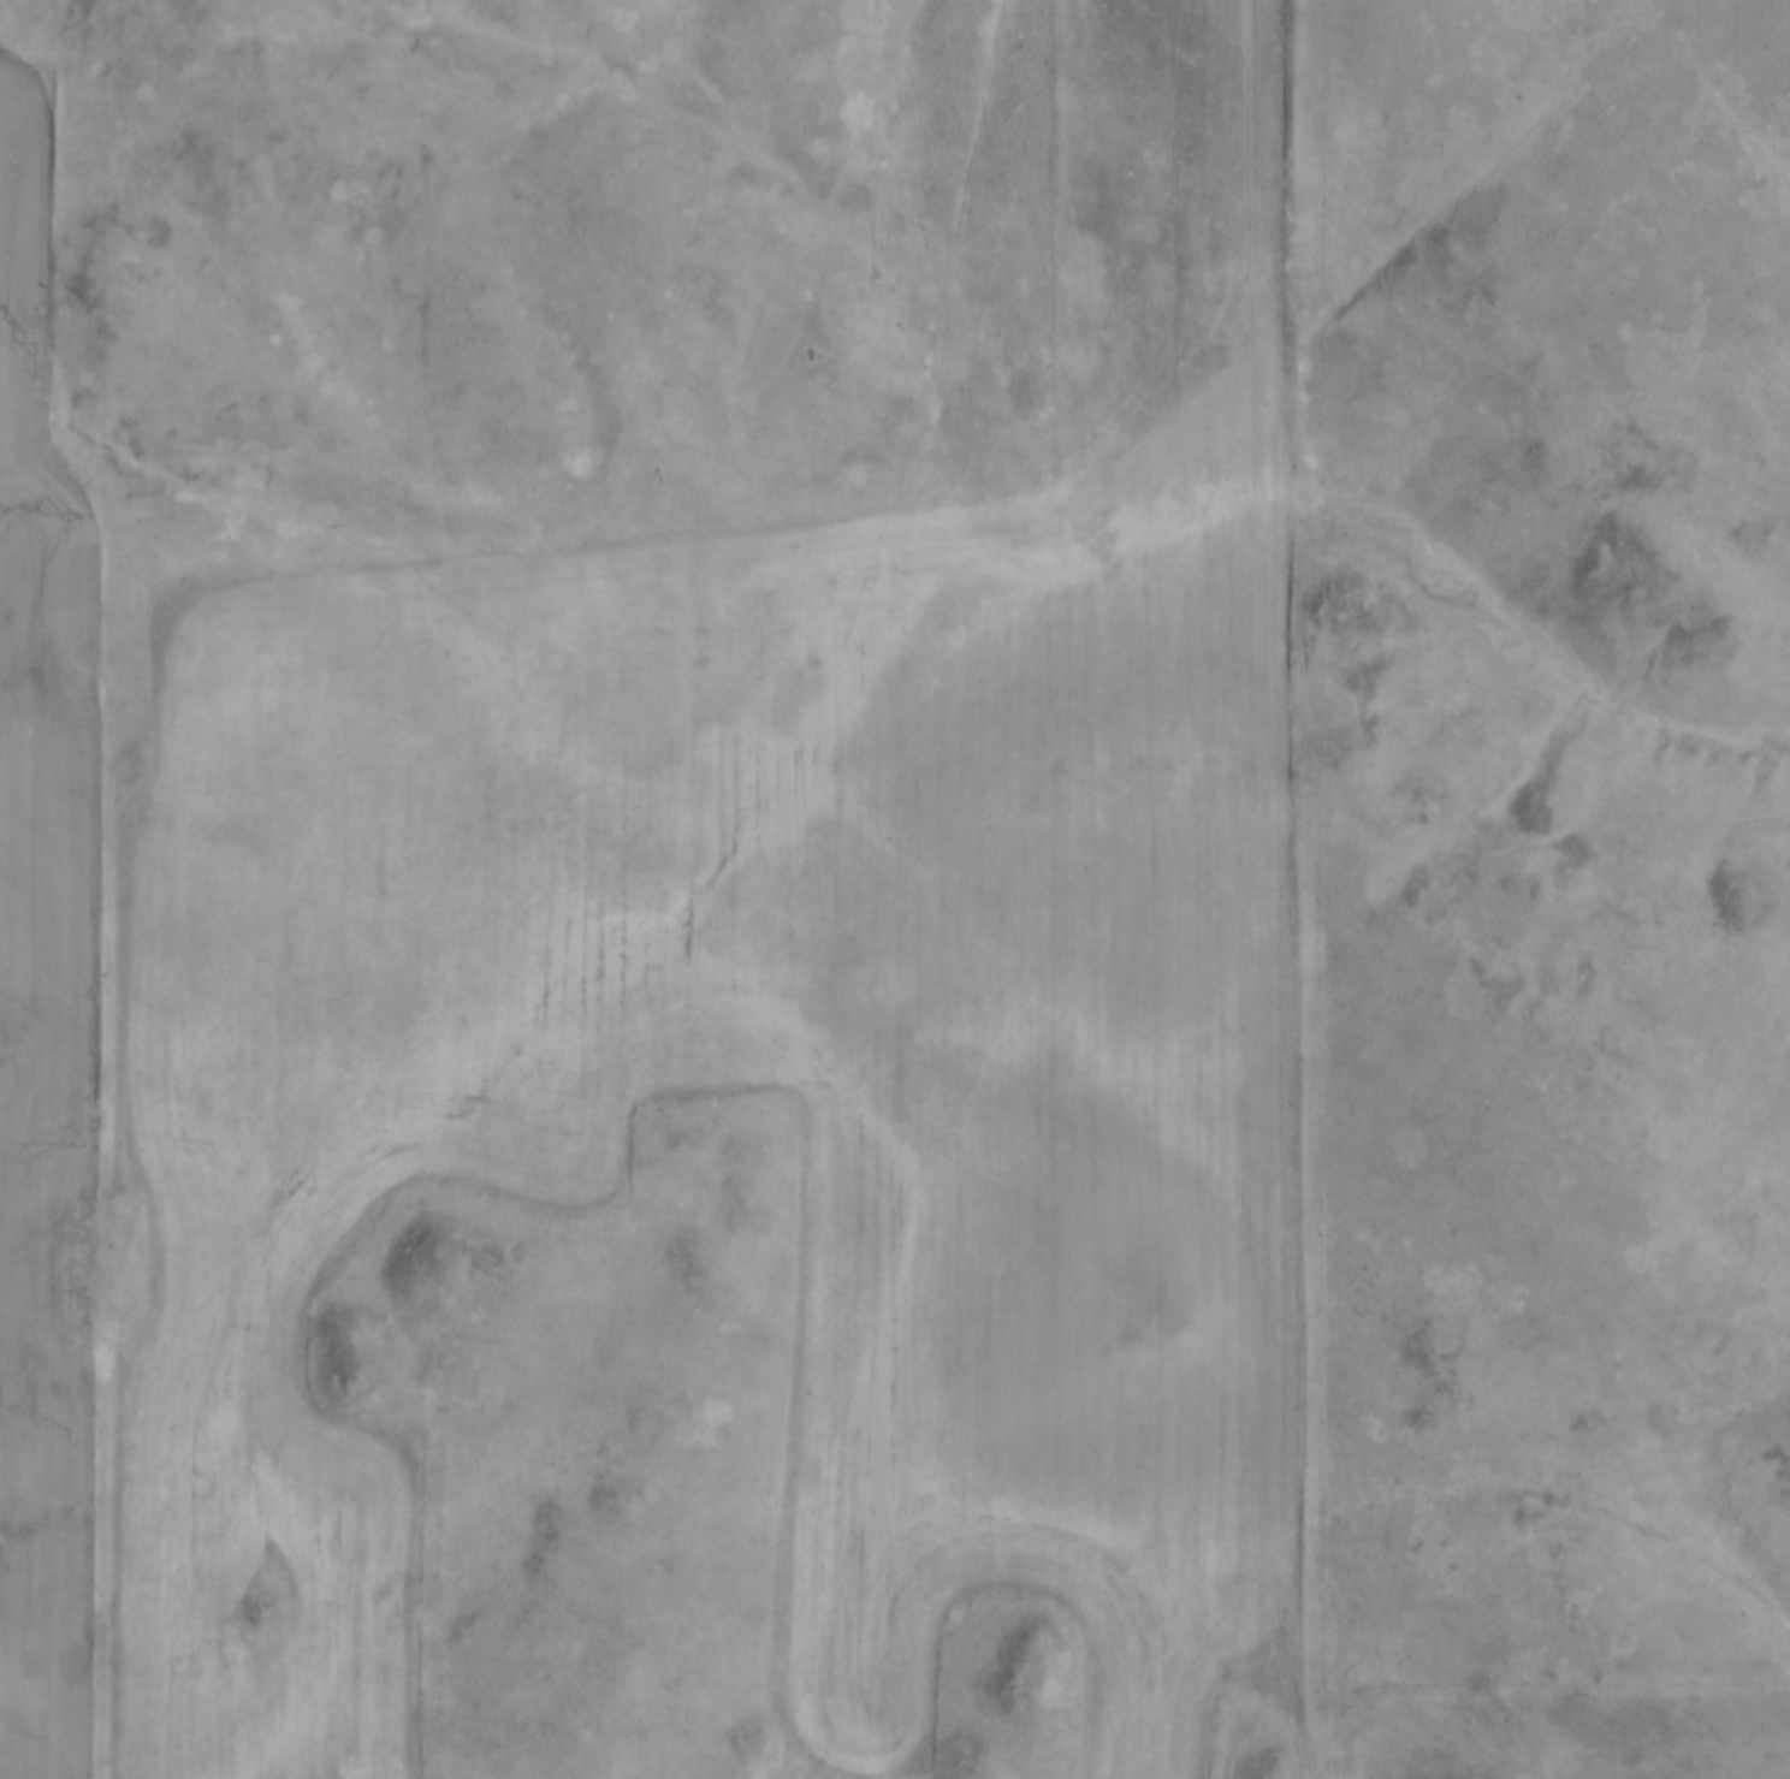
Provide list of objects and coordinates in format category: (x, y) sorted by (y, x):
road: (1309, 885)

